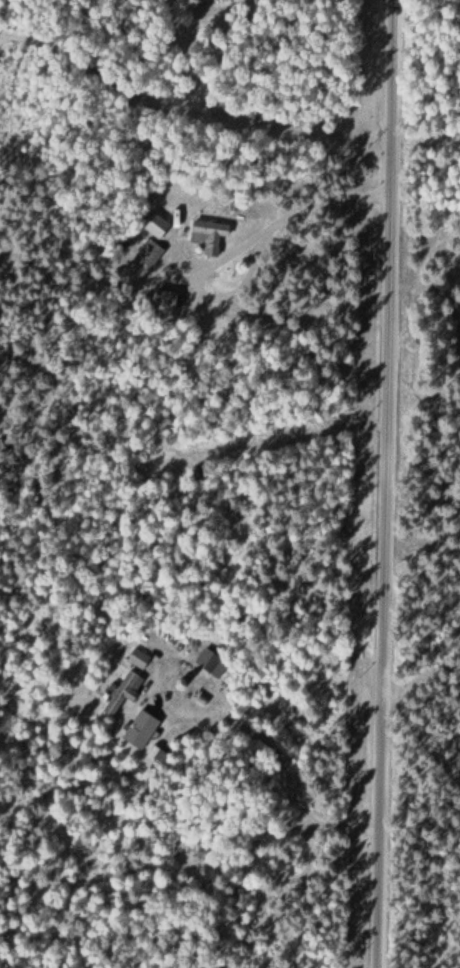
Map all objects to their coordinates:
building: (159, 226)
building: (211, 236)
road: (386, 483)
building: (122, 694)
building: (142, 730)
road: (421, 734)

